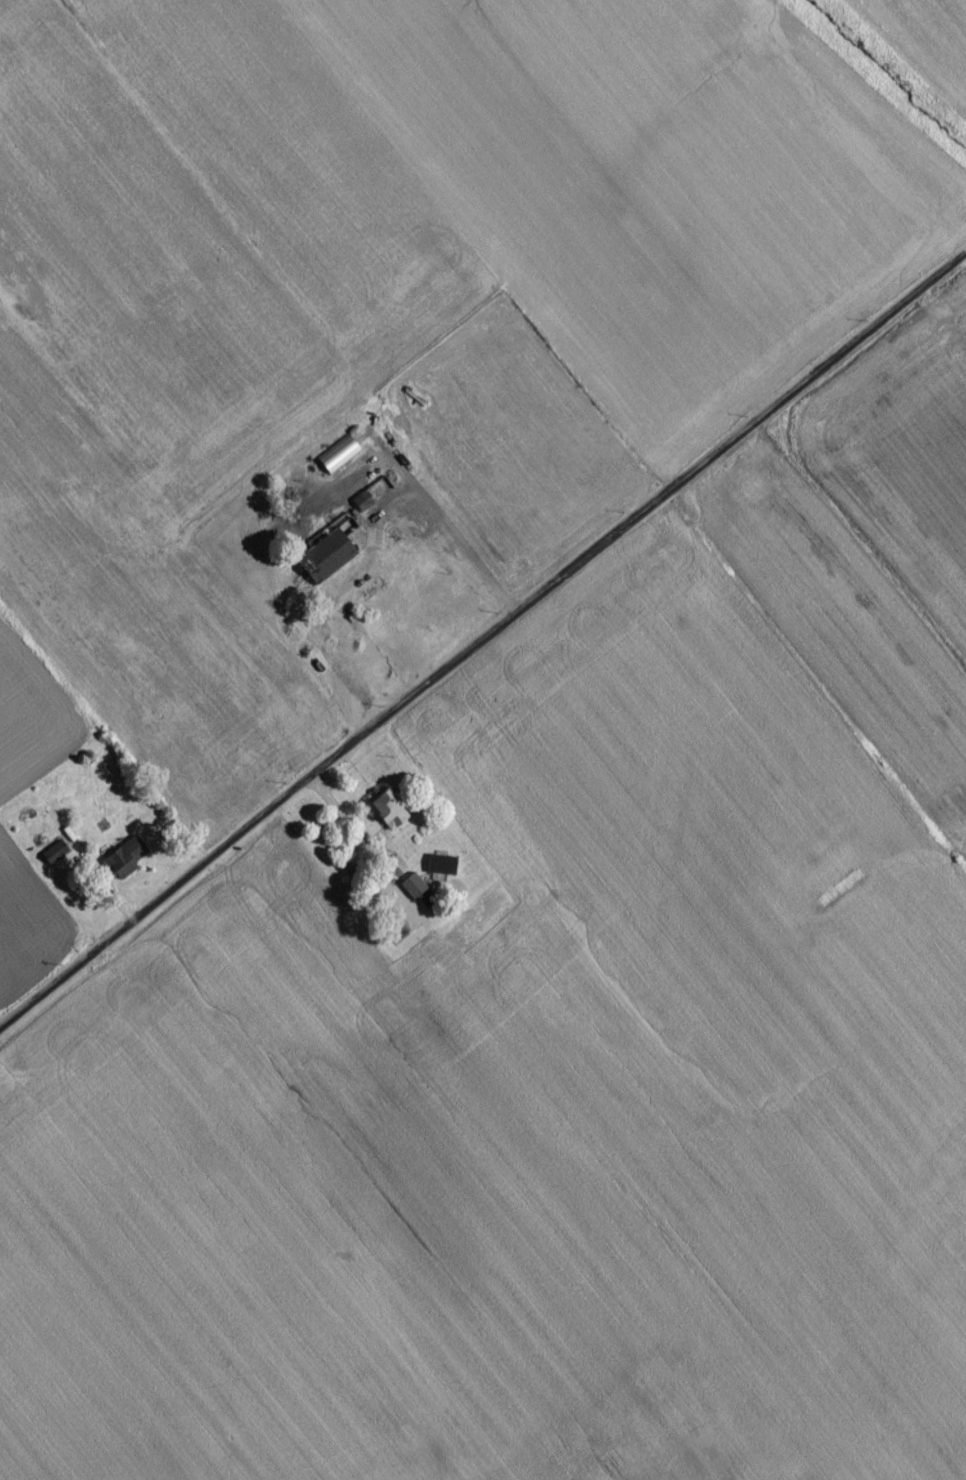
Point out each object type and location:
building: (337, 464)
road: (455, 532)
building: (327, 562)
road: (483, 648)
building: (384, 815)
building: (121, 864)

